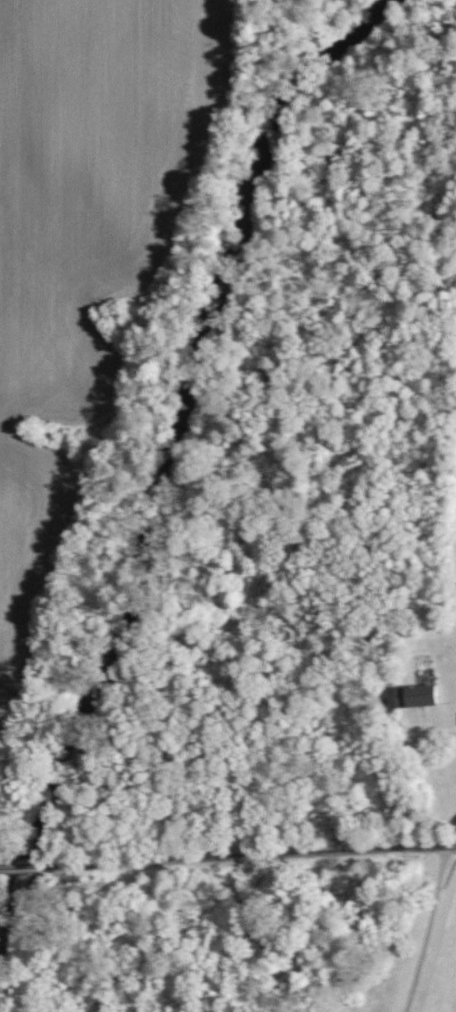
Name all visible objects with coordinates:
building: (414, 696)
road: (421, 752)
road: (228, 853)
road: (428, 921)

